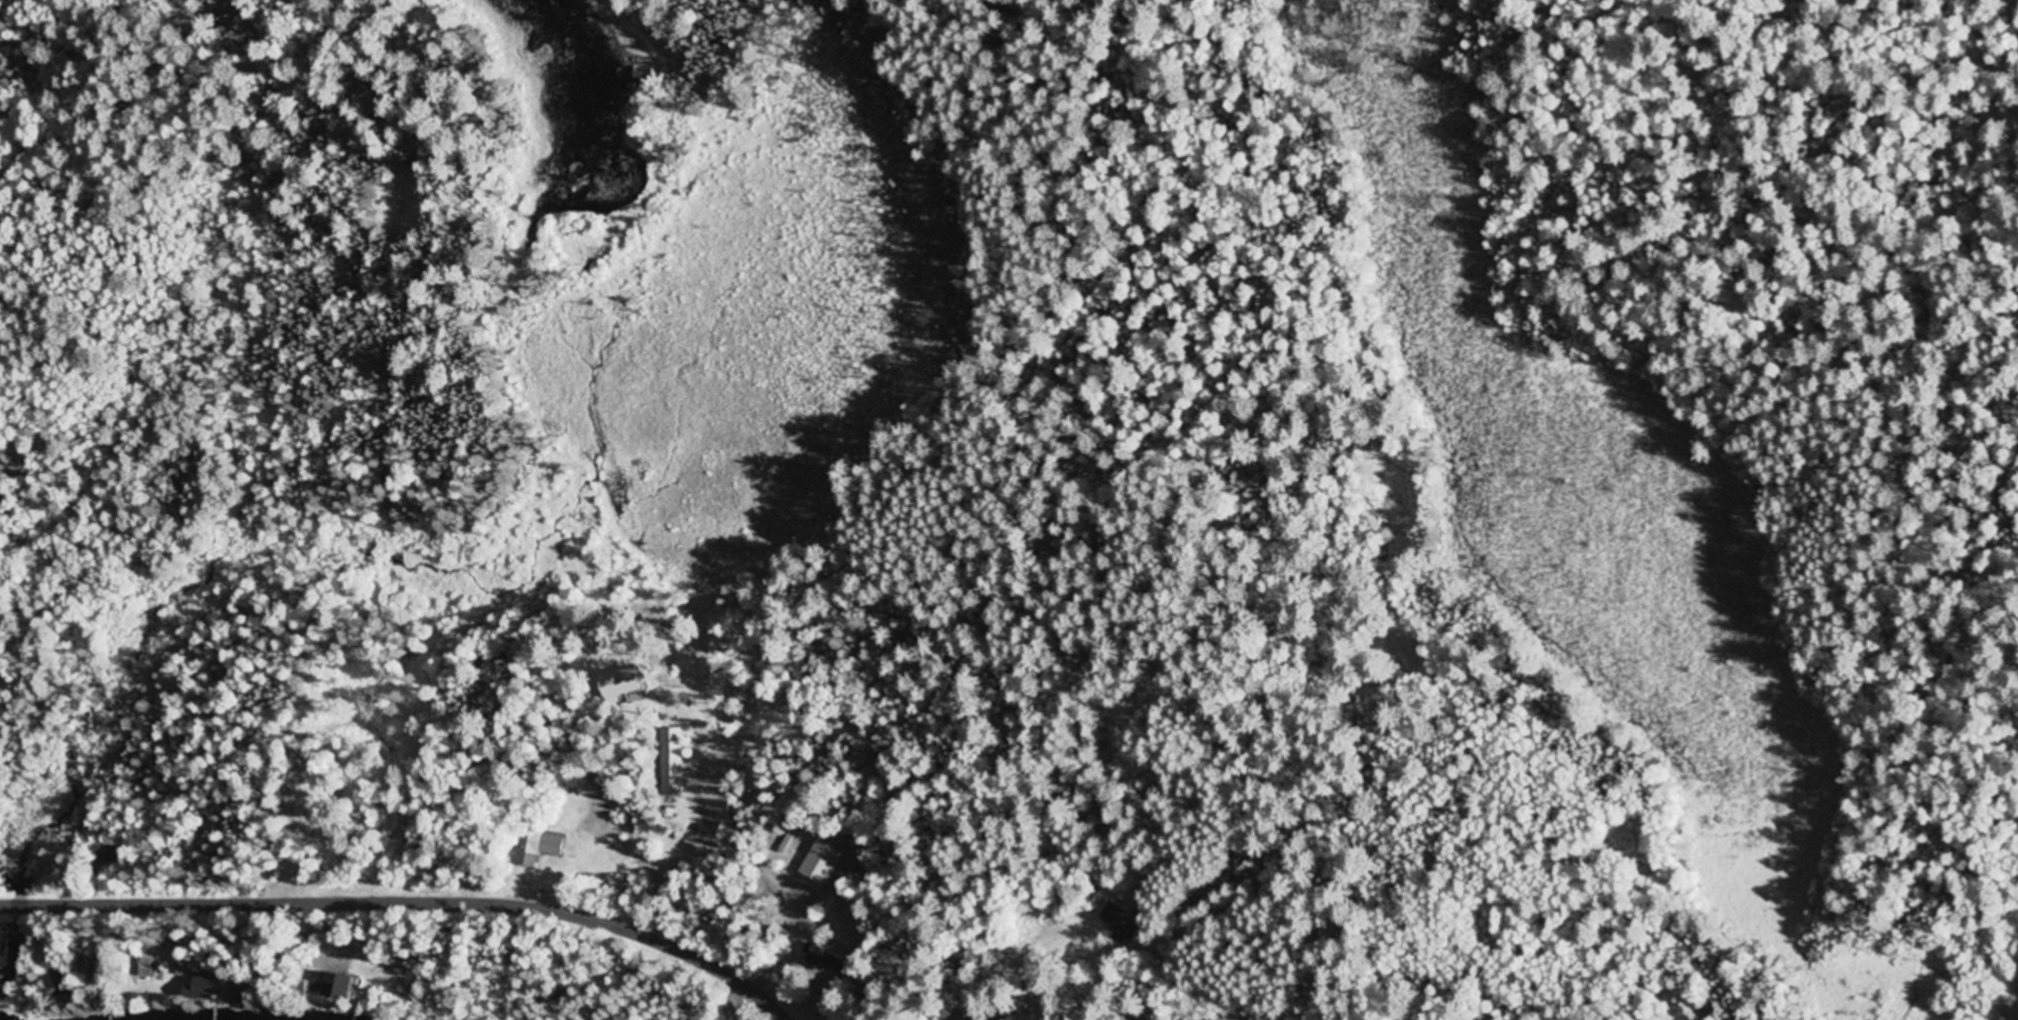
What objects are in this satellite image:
building: (629, 682)
building: (675, 741)
building: (405, 834)
building: (537, 847)
building: (109, 851)
road: (408, 903)
building: (834, 905)
building: (1116, 922)
building: (777, 932)
building: (833, 961)
building: (147, 965)
building: (97, 969)
building: (64, 980)
building: (339, 986)
building: (199, 989)
building: (241, 991)
building: (368, 995)

